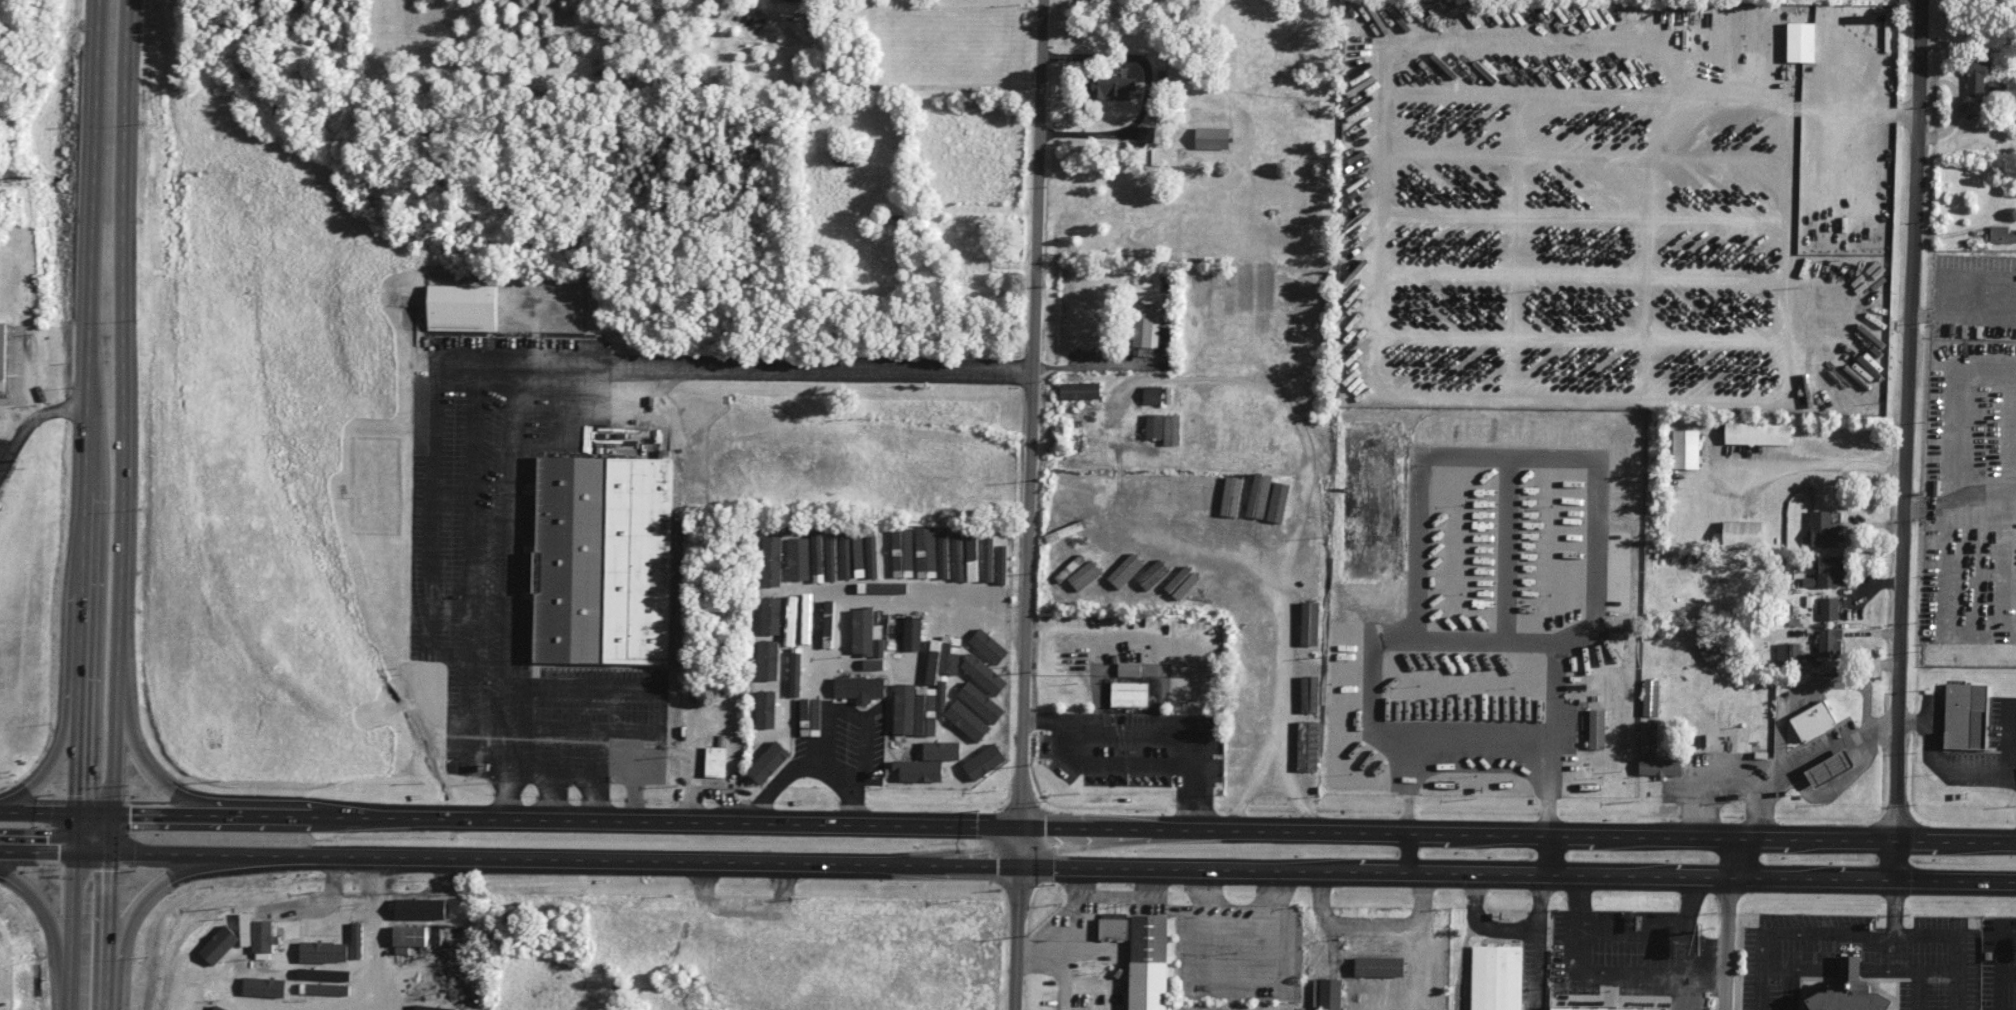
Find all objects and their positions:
building: (1866, 19)
road: (299, 21)
building: (1800, 42)
road: (897, 87)
building: (1972, 107)
building: (1305, 108)
road: (1873, 113)
building: (1145, 136)
building: (1211, 138)
building: (854, 159)
building: (2001, 235)
building: (462, 308)
building: (1144, 326)
road: (89, 335)
building: (2, 355)
road: (546, 365)
road: (1091, 367)
building: (1079, 390)
building: (1152, 395)
road: (1031, 414)
road: (30, 421)
road: (121, 426)
building: (1154, 426)
building: (1194, 428)
building: (1172, 429)
building: (1757, 433)
road: (1906, 439)
building: (1685, 449)
road: (1517, 452)
road: (1817, 463)
building: (1231, 496)
building: (1278, 502)
road: (1301, 510)
building: (1823, 530)
building: (1742, 534)
building: (935, 552)
building: (836, 555)
building: (858, 556)
building: (872, 556)
building: (957, 556)
building: (994, 559)
building: (602, 560)
building: (800, 560)
building: (1126, 570)
building: (1829, 571)
building: (1153, 574)
building: (1084, 575)
building: (1182, 582)
road: (878, 595)
building: (1828, 608)
building: (771, 615)
building: (1309, 623)
building: (912, 633)
building: (865, 634)
road: (1450, 636)
building: (797, 637)
building: (1829, 642)
building: (990, 645)
building: (1708, 650)
building: (771, 661)
building: (873, 664)
building: (1129, 669)
building: (983, 674)
building: (1265, 687)
building: (860, 688)
building: (1129, 694)
building: (1308, 695)
building: (1651, 698)
building: (982, 704)
building: (766, 708)
building: (917, 708)
building: (1965, 715)
building: (1813, 721)
building: (973, 726)
building: (1594, 729)
road: (823, 740)
road: (1497, 743)
building: (1307, 746)
building: (942, 750)
road: (60, 752)
building: (716, 761)
building: (771, 761)
building: (984, 762)
road: (812, 766)
building: (1660, 767)
road: (595, 768)
building: (1829, 768)
road: (145, 770)
building: (919, 770)
road: (1271, 774)
road: (596, 794)
road: (555, 795)
traffic signals: (75, 813)
traffic signals: (112, 814)
road: (1007, 827)
traffic signals: (1018, 828)
road: (73, 840)
road: (54, 853)
road: (1406, 853)
traffic signals: (73, 854)
traffic signals: (110, 854)
traffic signals: (1018, 866)
road: (1063, 866)
road: (141, 897)
road: (1894, 906)
building: (420, 909)
building: (1112, 915)
road: (1017, 919)
road: (1725, 923)
road: (55, 926)
building: (1113, 929)
road: (1503, 930)
road: (1790, 930)
road: (107, 932)
road: (1941, 934)
building: (357, 936)
road: (1634, 936)
building: (408, 938)
building: (262, 939)
road: (1698, 947)
building: (325, 950)
road: (1891, 951)
road: (1061, 956)
building: (1147, 963)
building: (1379, 967)
road: (1872, 968)
building: (1496, 977)
building: (311, 979)
building: (264, 987)
road: (1786, 989)
road: (1958, 989)
building: (187, 991)
building: (1848, 991)
building: (1329, 994)
building: (424, 1004)
building: (1605, 1005)
building: (220, 1007)
building: (269, 1009)

